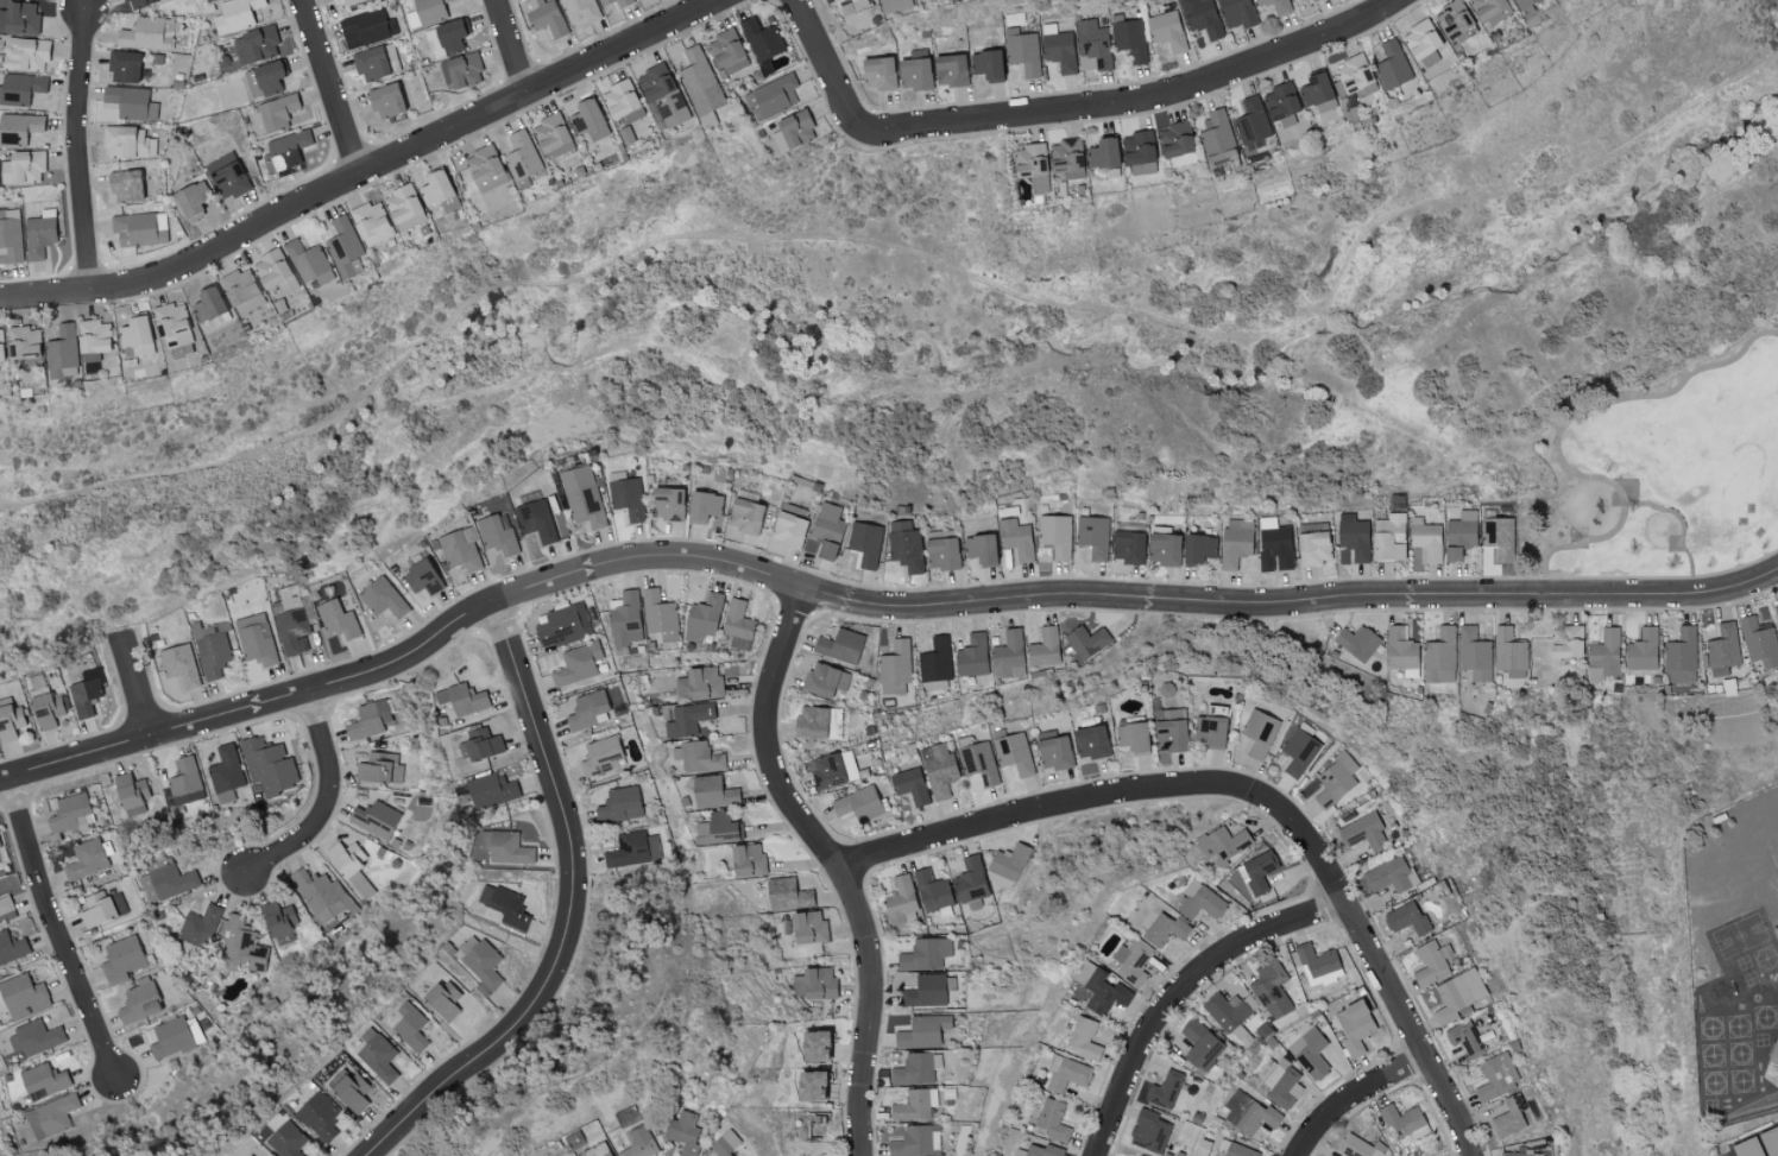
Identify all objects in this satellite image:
building: (208, 0)
building: (334, 0)
building: (1312, 0)
building: (137, 2)
building: (1522, 2)
building: (358, 4)
building: (623, 5)
building: (851, 5)
building: (1275, 5)
building: (896, 6)
building: (580, 11)
building: (1489, 11)
building: (427, 13)
building: (1237, 13)
building: (235, 15)
building: (19, 17)
building: (546, 17)
building: (1202, 17)
building: (1452, 18)
building: (367, 29)
building: (1167, 30)
building: (146, 33)
building: (1465, 34)
building: (452, 36)
building: (762, 39)
building: (1130, 39)
building: (1420, 39)
building: (1093, 43)
building: (256, 45)
road: (509, 45)
building: (1058, 48)
building: (1022, 50)
building: (726, 52)
building: (25, 53)
building: (376, 62)
building: (986, 64)
building: (1392, 64)
building: (124, 65)
building: (948, 69)
building: (462, 70)
building: (914, 70)
building: (877, 72)
building: (1355, 75)
building: (264, 78)
building: (700, 86)
building: (20, 88)
road: (328, 88)
road: (1172, 91)
building: (1317, 91)
road: (849, 94)
building: (662, 95)
building: (771, 96)
building: (619, 99)
building: (385, 100)
building: (1280, 101)
building: (131, 102)
building: (273, 114)
building: (588, 119)
building: (1251, 120)
building: (19, 127)
building: (793, 131)
building: (550, 132)
building: (1216, 132)
building: (128, 141)
building: (1177, 144)
building: (1136, 147)
building: (285, 151)
road: (82, 153)
building: (1102, 153)
building: (522, 156)
building: (1222, 157)
building: (1066, 158)
building: (483, 164)
building: (1032, 165)
building: (23, 166)
building: (1142, 168)
road: (370, 169)
building: (227, 176)
building: (125, 184)
building: (437, 190)
building: (191, 200)
building: (404, 208)
building: (371, 223)
building: (38, 236)
road: (907, 252)
building: (309, 263)
building: (273, 271)
building: (239, 285)
building: (207, 303)
building: (171, 324)
building: (134, 335)
building: (92, 336)
building: (21, 342)
building: (61, 352)
building: (0, 364)
road: (1559, 431)
park: (1662, 469)
building: (582, 495)
building: (626, 498)
building: (667, 503)
building: (702, 506)
building: (744, 516)
building: (536, 520)
road: (1683, 526)
building: (788, 530)
building: (827, 530)
building: (1461, 530)
building: (1055, 535)
building: (1093, 536)
building: (1353, 536)
building: (1387, 537)
building: (1016, 538)
building: (1425, 538)
building: (1495, 539)
building: (496, 542)
building: (1235, 542)
building: (865, 543)
building: (1127, 543)
building: (904, 545)
building: (1273, 545)
building: (1197, 548)
building: (1312, 548)
building: (940, 549)
building: (981, 549)
building: (1162, 549)
building: (460, 550)
building: (1450, 554)
building: (421, 576)
building: (382, 598)
road: (866, 608)
building: (660, 615)
building: (292, 617)
building: (704, 618)
building: (624, 619)
building: (338, 620)
building: (562, 625)
building: (737, 625)
building: (256, 639)
building: (1086, 640)
building: (1566, 640)
building: (1356, 642)
building: (1759, 643)
building: (839, 645)
building: (1044, 648)
building: (1399, 649)
building: (213, 650)
building: (1643, 650)
building: (1722, 650)
building: (1474, 653)
building: (1509, 653)
building: (1604, 653)
building: (1009, 655)
building: (972, 656)
building: (1439, 656)
building: (1681, 656)
building: (179, 664)
building: (576, 664)
building: (935, 664)
building: (895, 668)
building: (825, 680)
building: (700, 683)
road: (139, 687)
building: (84, 696)
building: (462, 699)
building: (46, 710)
building: (587, 710)
building: (682, 719)
building: (10, 720)
building: (368, 720)
building: (818, 722)
building: (1211, 727)
building: (1171, 729)
building: (1259, 733)
building: (1134, 737)
building: (1091, 743)
building: (480, 745)
building: (1053, 751)
building: (1298, 752)
building: (1014, 753)
building: (601, 754)
building: (698, 757)
building: (979, 762)
building: (267, 766)
building: (379, 769)
building: (833, 769)
building: (939, 770)
building: (226, 773)
building: (1336, 779)
building: (185, 782)
building: (909, 785)
building: (130, 790)
building: (491, 790)
building: (713, 792)
road: (1249, 797)
road: (332, 803)
building: (619, 804)
building: (858, 804)
building: (68, 811)
building: (374, 819)
building: (717, 829)
building: (1363, 833)
building: (1223, 842)
building: (0, 845)
building: (505, 847)
building: (652, 848)
building: (628, 851)
building: (0, 860)
building: (86, 860)
building: (746, 860)
building: (1008, 861)
road: (830, 865)
building: (349, 867)
building: (1257, 872)
building: (166, 880)
building: (970, 880)
building: (932, 891)
building: (320, 895)
building: (787, 895)
building: (900, 899)
building: (1199, 902)
building: (504, 907)
building: (102, 908)
building: (6, 910)
road: (573, 911)
building: (277, 918)
building: (1406, 918)
building: (200, 926)
building: (807, 928)
road: (57, 929)
building: (1164, 929)
building: (1777, 935)
building: (241, 945)
building: (11, 947)
building: (925, 954)
building: (121, 960)
building: (1131, 961)
building: (1431, 962)
building: (484, 964)
building: (1320, 964)
building: (1101, 988)
building: (1271, 988)
building: (926, 991)
road: (1179, 991)
building: (1458, 994)
building: (23, 997)
building: (443, 1000)
building: (138, 1003)
building: (1225, 1010)
building: (411, 1026)
building: (1354, 1026)
building: (922, 1031)
building: (34, 1037)
building: (170, 1038)
building: (1083, 1038)
building: (1463, 1040)
building: (815, 1046)
building: (1200, 1047)
building: (1773, 1049)
building: (1310, 1053)
building: (379, 1057)
building: (915, 1068)
building: (1066, 1073)
building: (1496, 1076)
building: (43, 1079)
building: (1282, 1084)
building: (809, 1086)
building: (1164, 1089)
building: (349, 1091)
road: (1353, 1099)
building: (915, 1105)
building: (1249, 1113)
building: (50, 1117)
building: (319, 1117)
building: (1511, 1117)
building: (1052, 1120)
building: (1148, 1131)
building: (682, 1132)
building: (290, 1142)
building: (915, 1142)
building: (639, 1143)
building: (725, 1144)
building: (1761, 1145)
building: (1358, 1146)
building: (1042, 1150)
building: (1234, 1150)
building: (595, 1151)
building: (1521, 1154)
building: (248, 1155)

